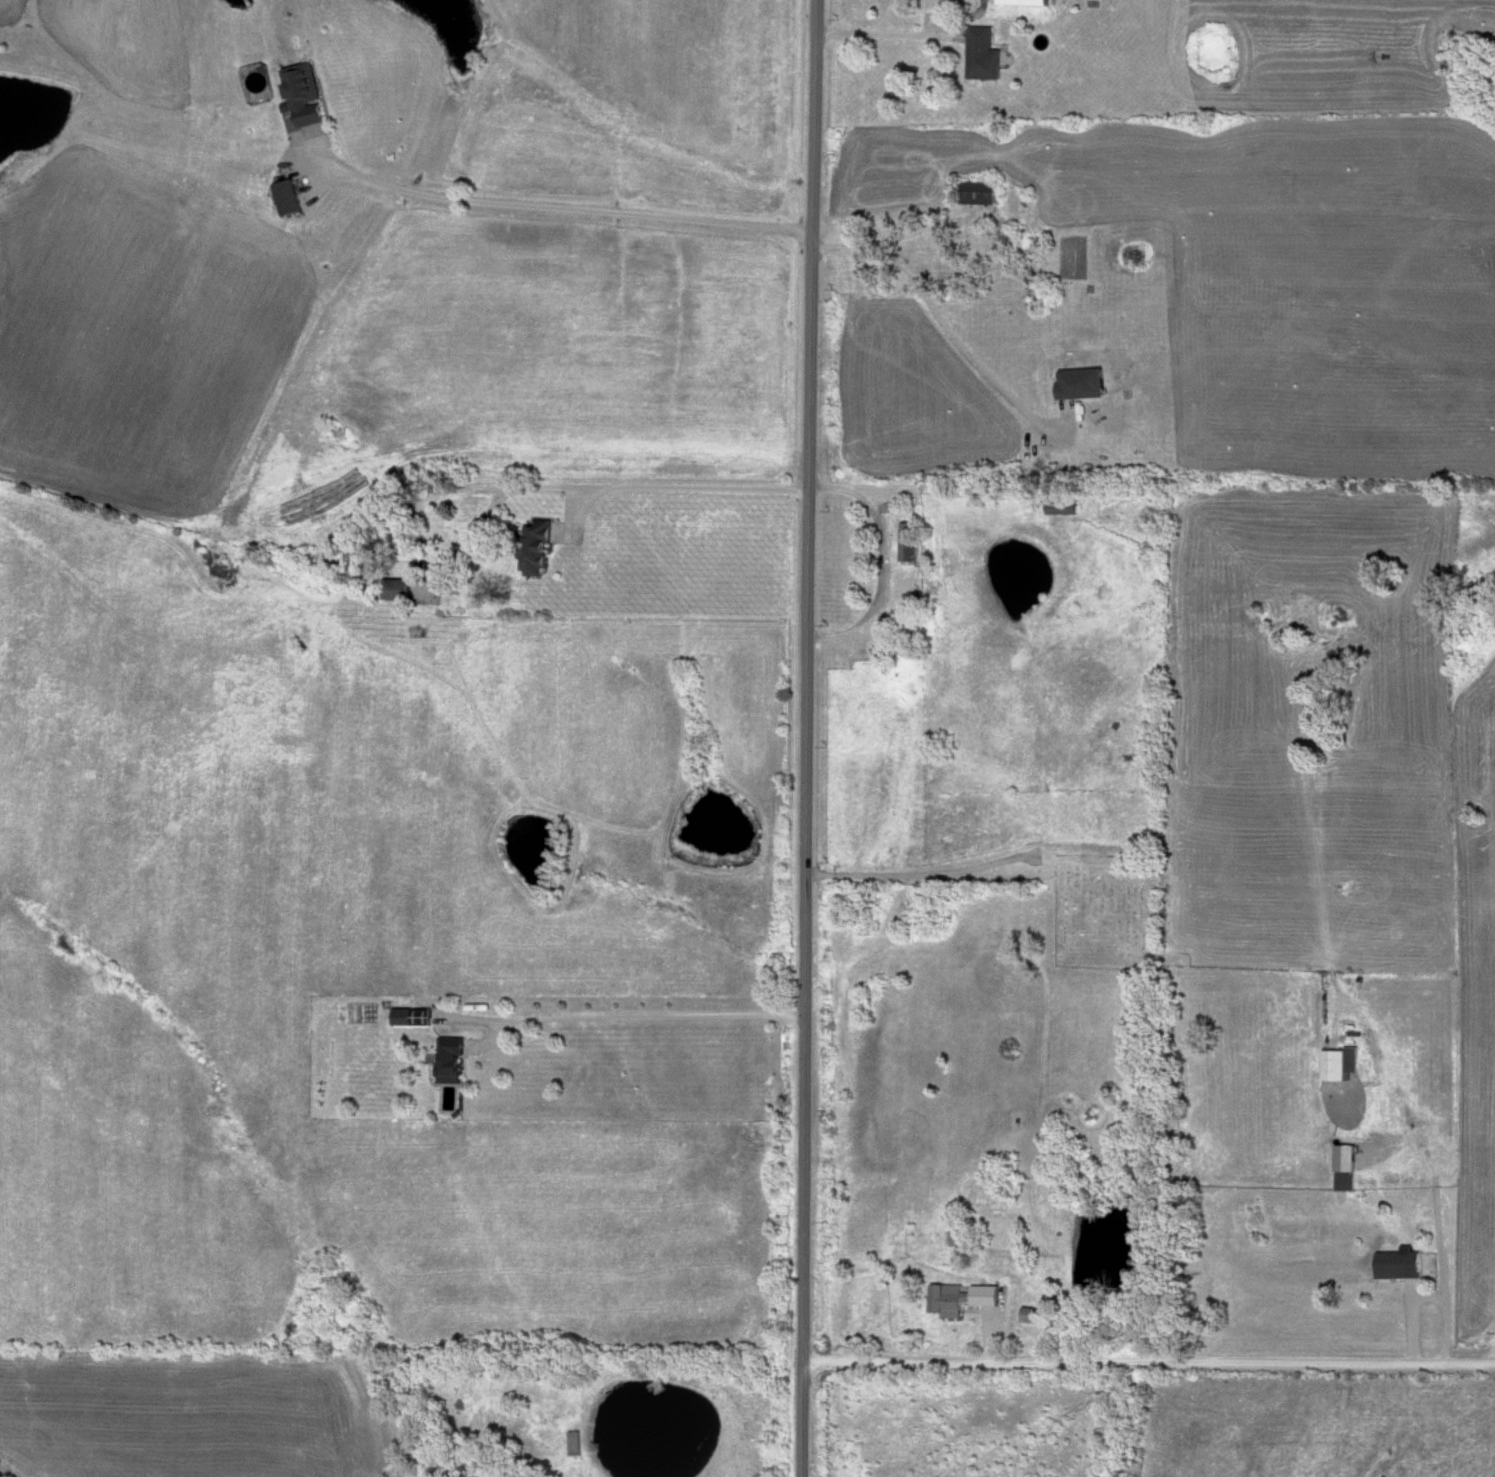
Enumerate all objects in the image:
road: (888, 23)
building: (983, 56)
building: (302, 100)
building: (976, 195)
building: (285, 198)
road: (563, 208)
building: (978, 235)
building: (920, 264)
road: (937, 313)
building: (1058, 510)
building: (905, 543)
building: (533, 551)
road: (880, 561)
road: (378, 575)
building: (396, 591)
road: (808, 738)
road: (929, 878)
park: (1104, 913)
road: (641, 1017)
building: (408, 1019)
building: (446, 1059)
building: (1336, 1066)
building: (1342, 1182)
building: (1396, 1266)
building: (959, 1300)
building: (1028, 1317)
road: (1150, 1362)
building: (573, 1444)

